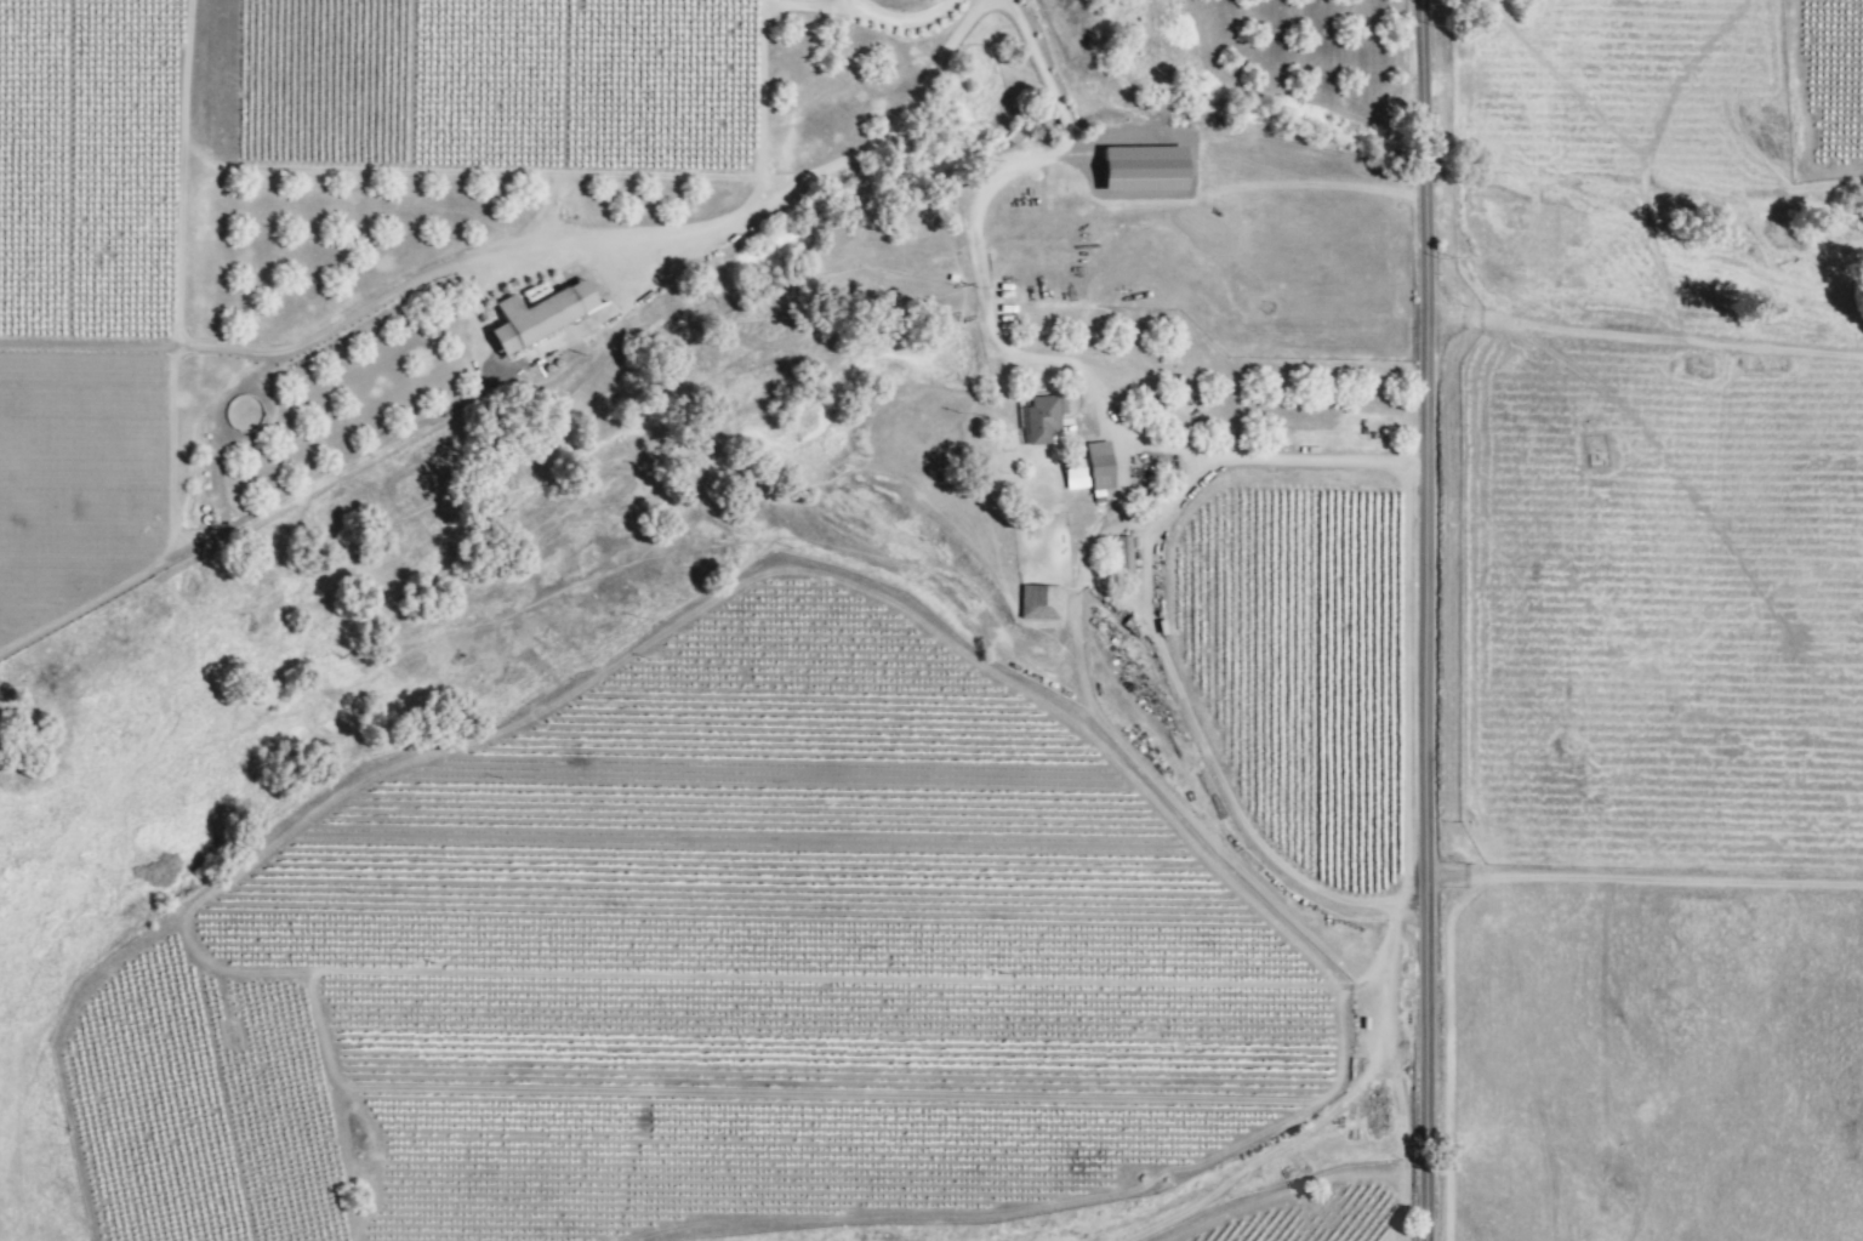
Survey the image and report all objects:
road: (822, 2)
road: (842, 4)
road: (893, 13)
road: (803, 184)
road: (974, 228)
building: (535, 315)
building: (1043, 417)
road: (1278, 452)
building: (1089, 469)
building: (1121, 554)
building: (1038, 603)
road: (1425, 620)
road: (1196, 736)

